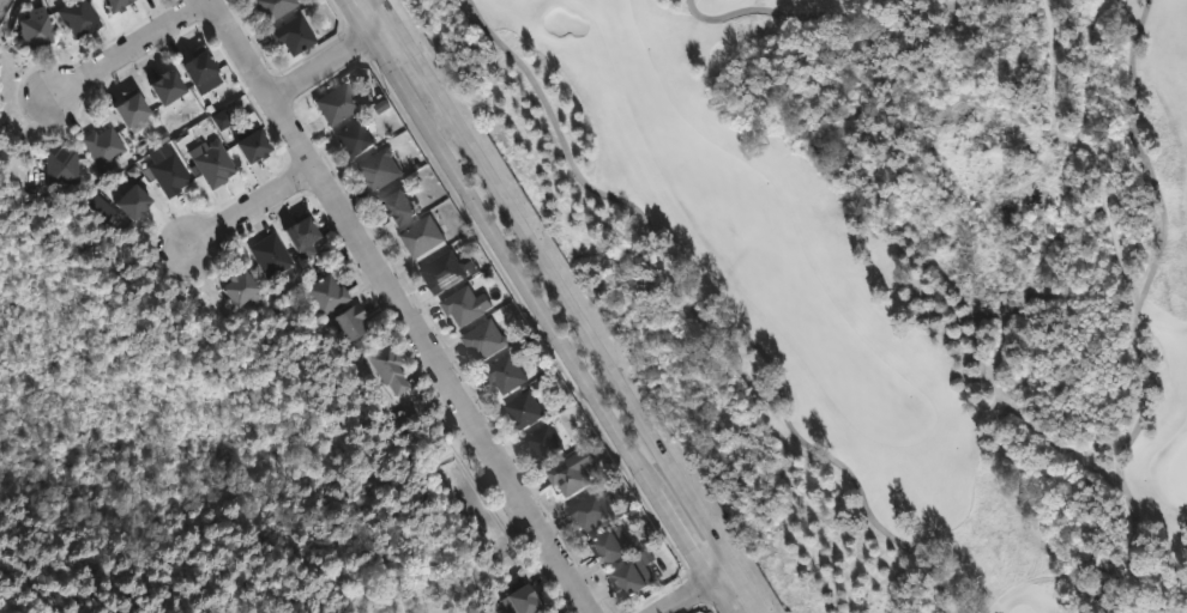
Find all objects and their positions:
building: (108, 5)
building: (271, 7)
road: (783, 13)
building: (76, 17)
building: (32, 28)
building: (293, 34)
road: (128, 49)
road: (333, 62)
building: (197, 71)
building: (162, 86)
building: (336, 104)
building: (126, 109)
building: (353, 138)
building: (102, 144)
building: (246, 146)
road: (1080, 148)
building: (210, 163)
building: (60, 168)
building: (378, 170)
building: (167, 174)
building: (127, 202)
building: (394, 207)
road: (253, 210)
building: (297, 232)
building: (420, 237)
building: (271, 256)
park: (896, 259)
building: (441, 273)
building: (240, 290)
building: (327, 293)
road: (537, 305)
road: (398, 306)
building: (460, 306)
road: (568, 306)
road: (1134, 317)
road: (704, 321)
building: (348, 322)
building: (482, 341)
building: (387, 368)
building: (505, 376)
building: (523, 409)
building: (542, 442)
building: (571, 472)
park: (1179, 472)
building: (590, 509)
building: (604, 546)
building: (632, 573)
road: (719, 579)
building: (518, 599)
road: (687, 600)
road: (1169, 600)

